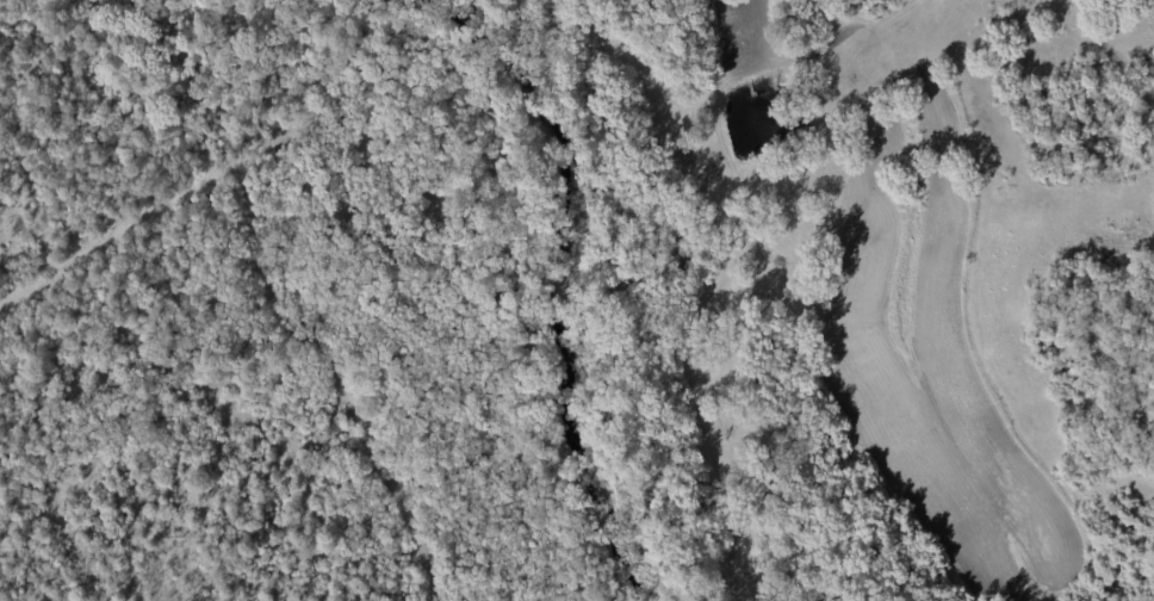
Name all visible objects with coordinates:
road: (863, 370)

